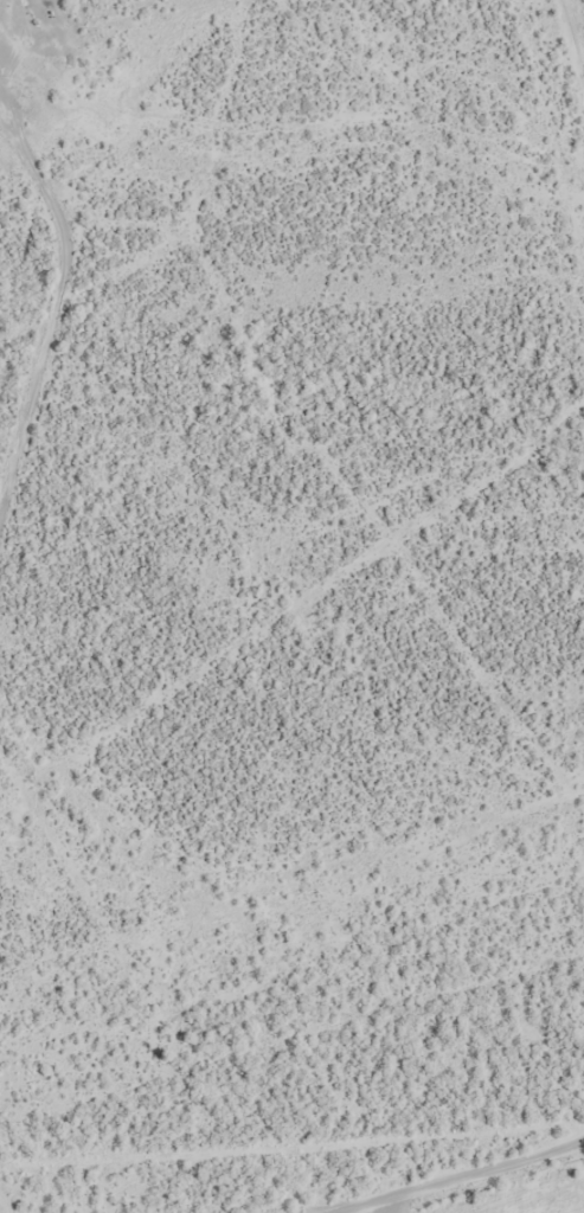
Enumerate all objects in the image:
road: (481, 1182)

